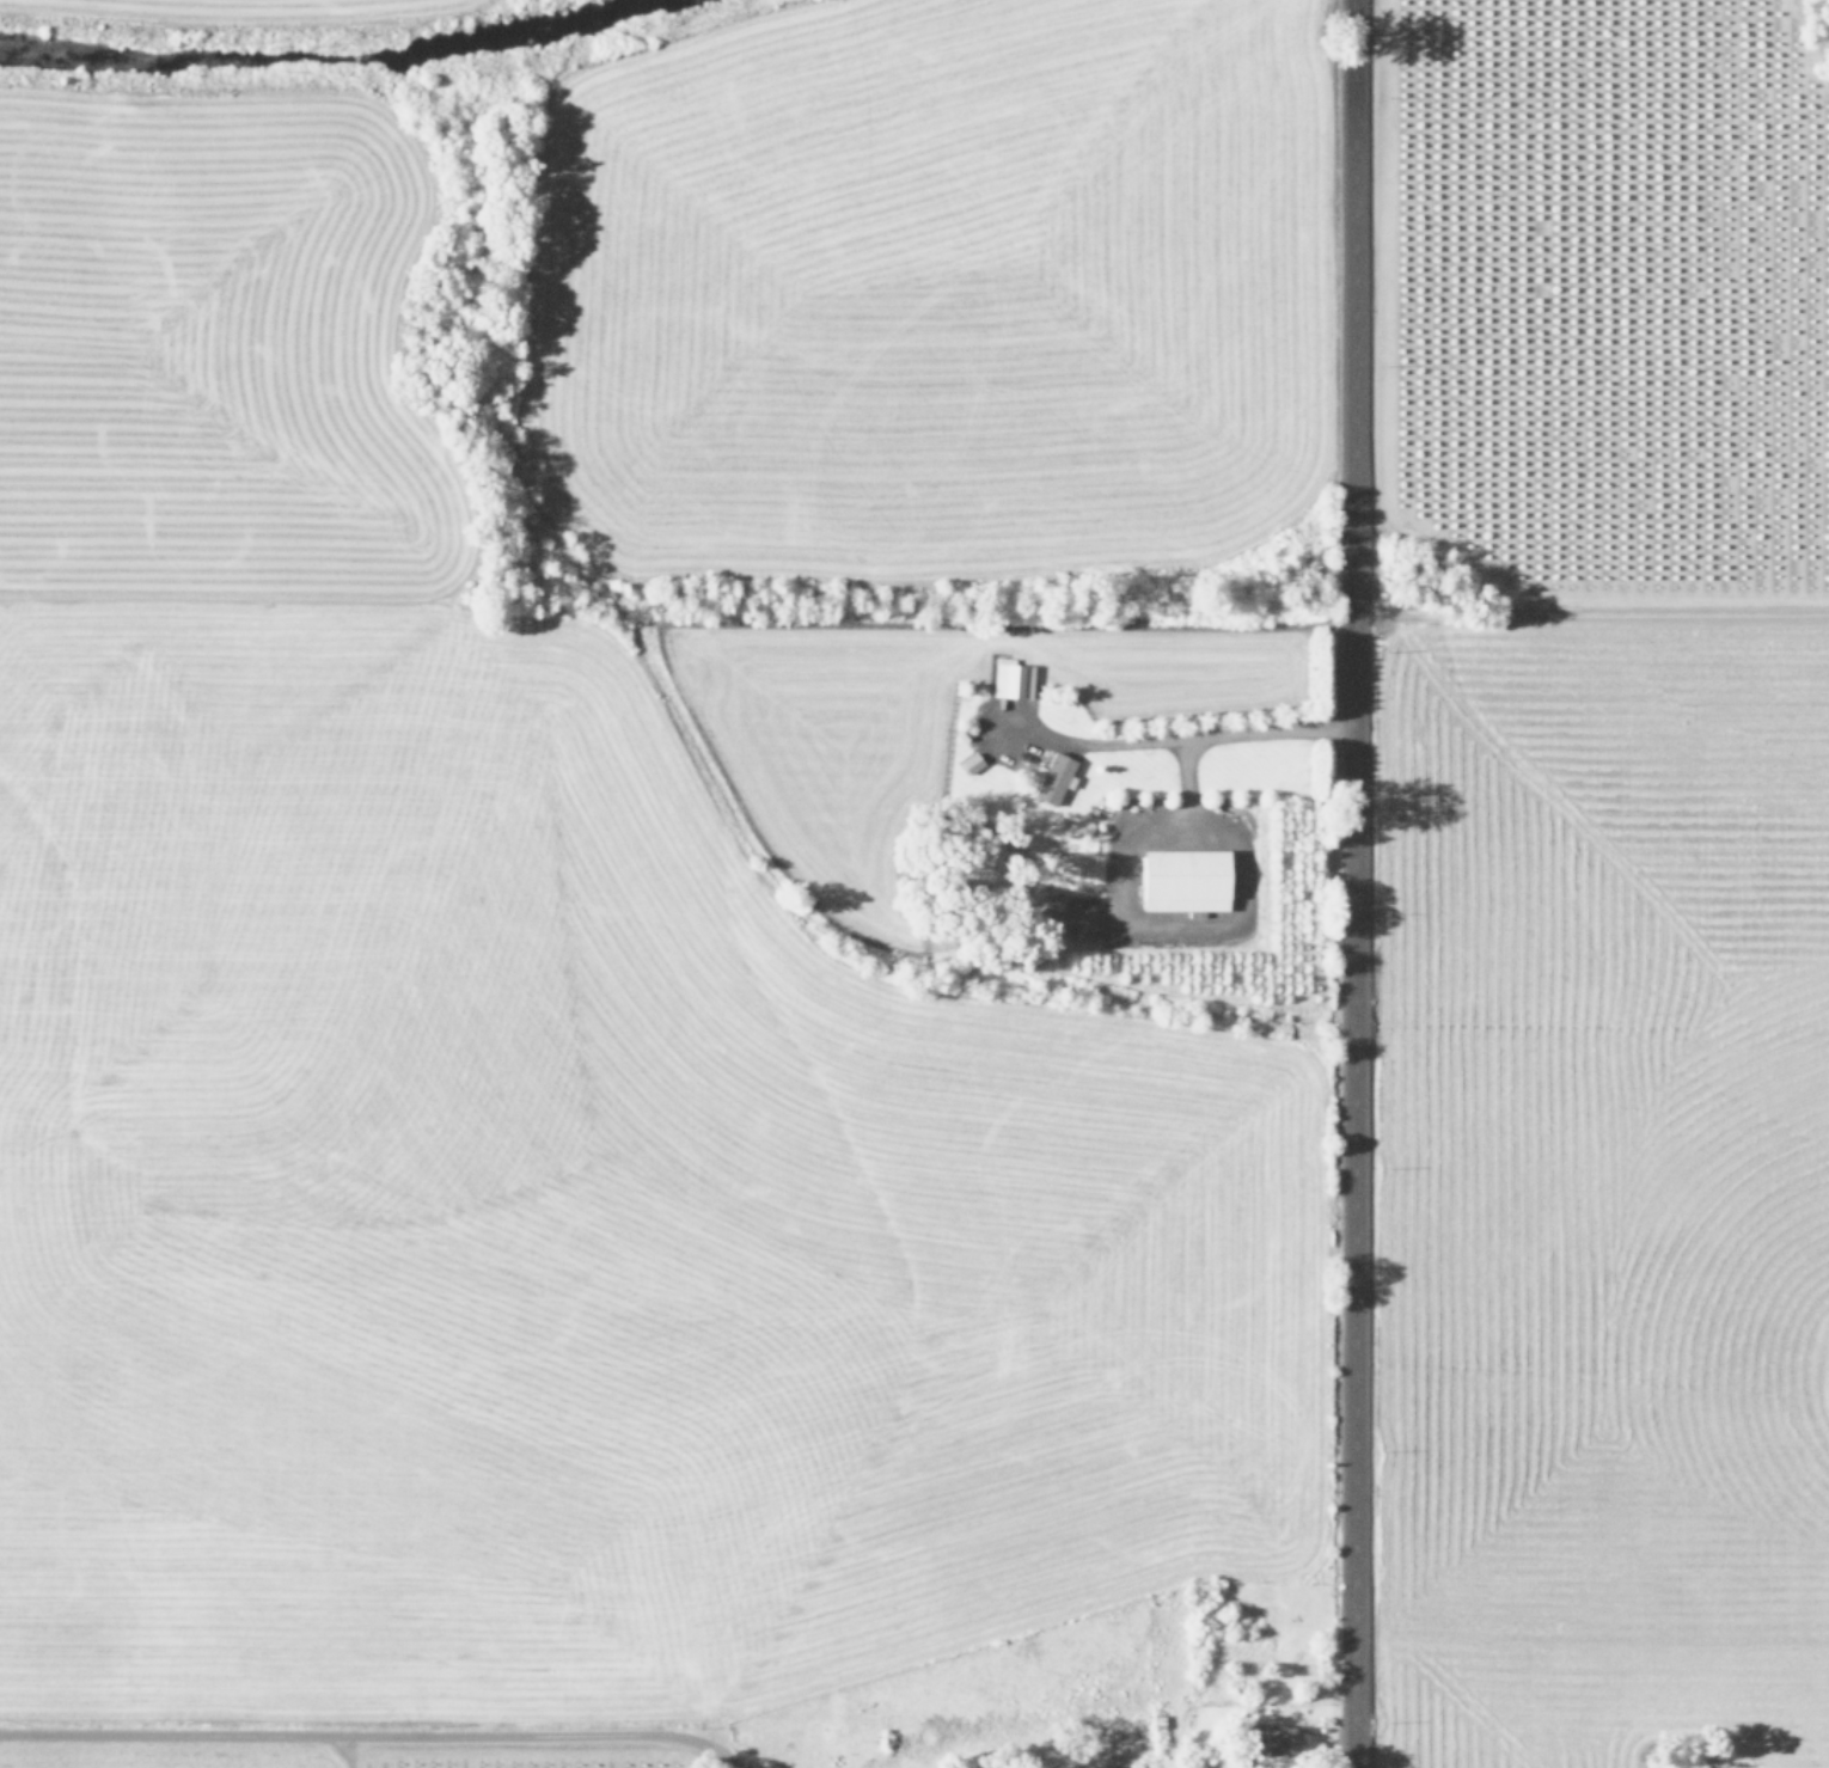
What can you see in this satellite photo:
building: (1011, 679)
road: (1181, 739)
building: (969, 763)
building: (1052, 777)
building: (1186, 881)
road: (1353, 883)
road: (373, 1733)
building: (1270, 1739)

